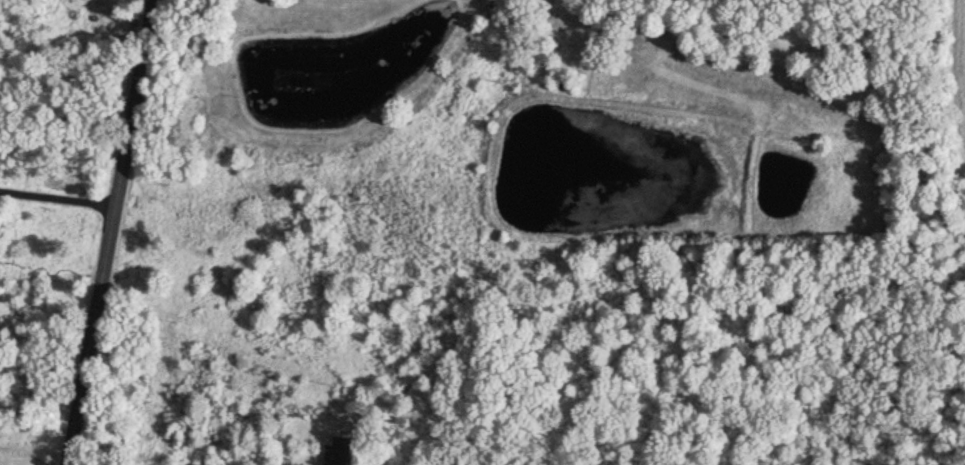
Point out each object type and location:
road: (60, 198)
road: (117, 232)
building: (342, 454)

